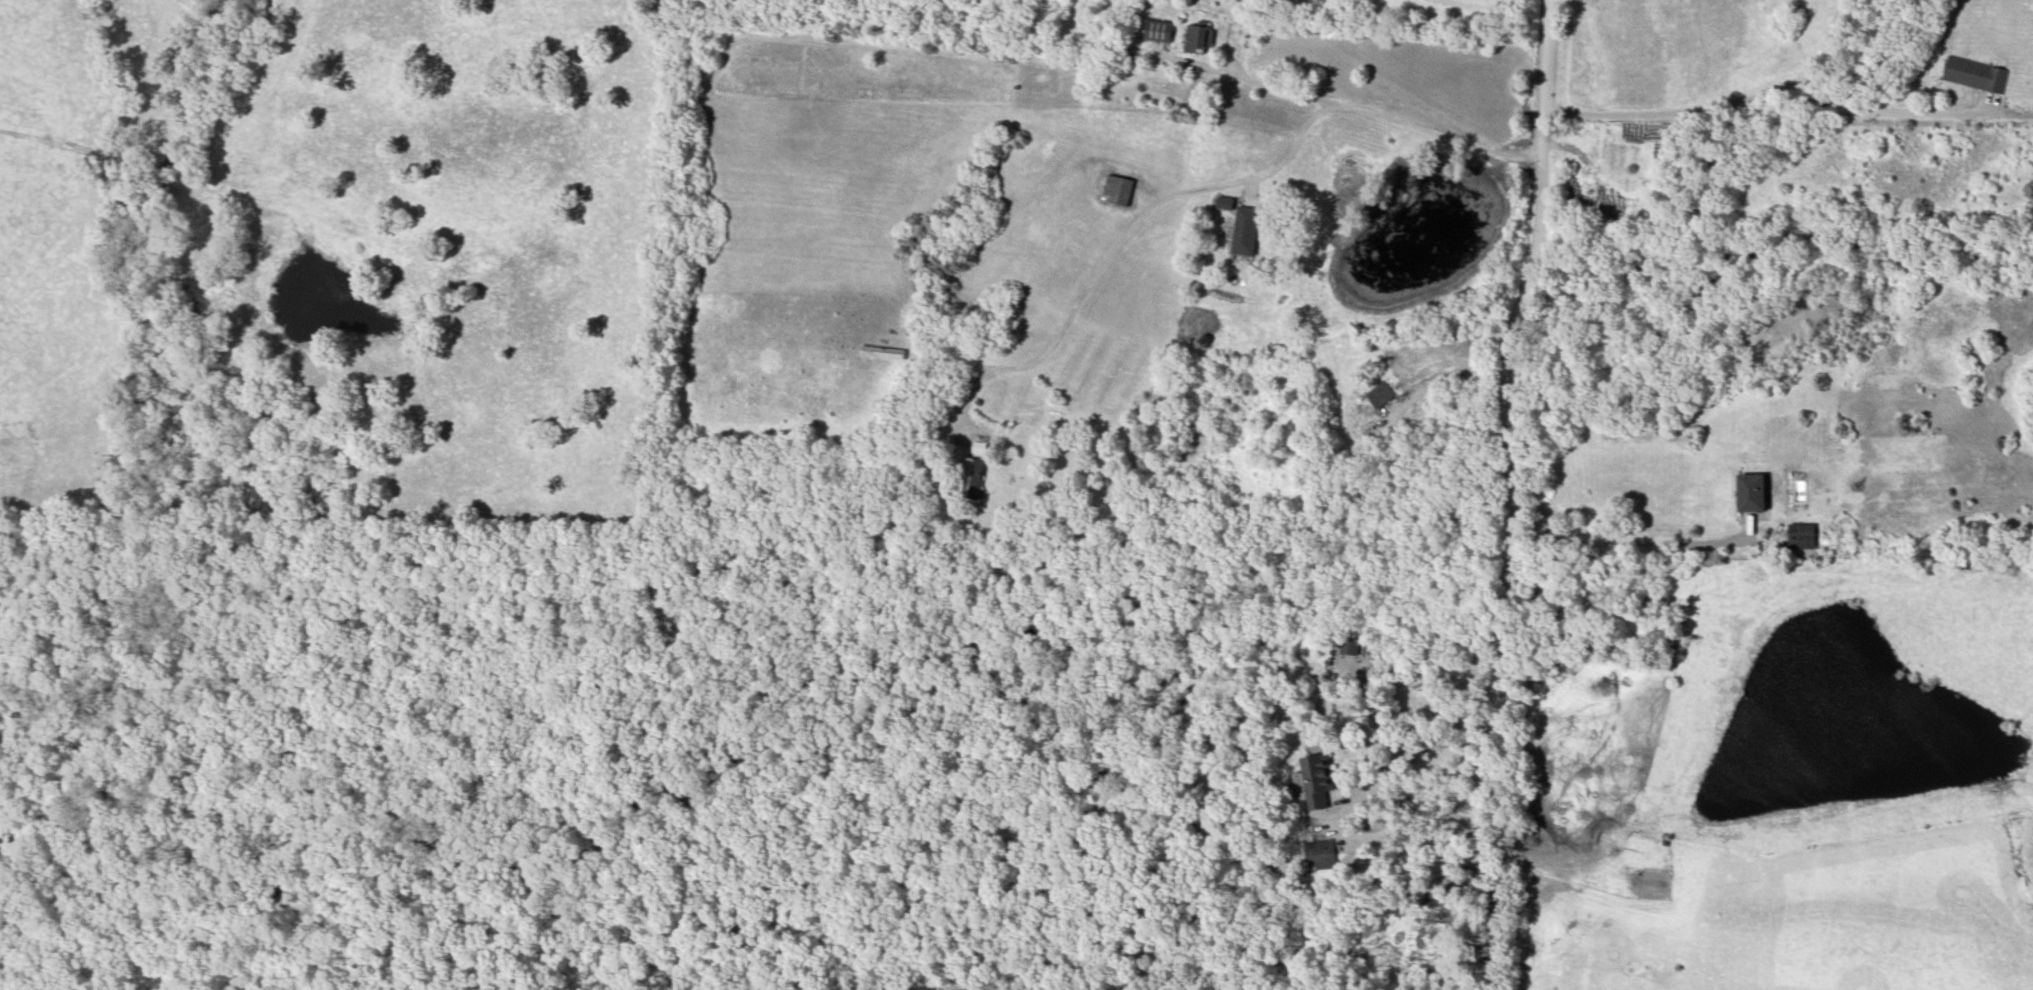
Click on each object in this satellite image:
building: (1160, 32)
building: (1200, 39)
building: (1975, 75)
road: (1769, 90)
road: (1376, 114)
building: (1119, 190)
building: (1225, 203)
building: (1248, 231)
road: (1121, 234)
building: (883, 352)
road: (1509, 361)
road: (1450, 372)
building: (1382, 394)
building: (978, 448)
building: (909, 464)
building: (973, 471)
building: (1754, 492)
building: (1801, 536)
road: (1608, 543)
building: (1350, 644)
road: (1428, 743)
building: (1318, 780)
building: (1322, 853)
park: (317, 981)

